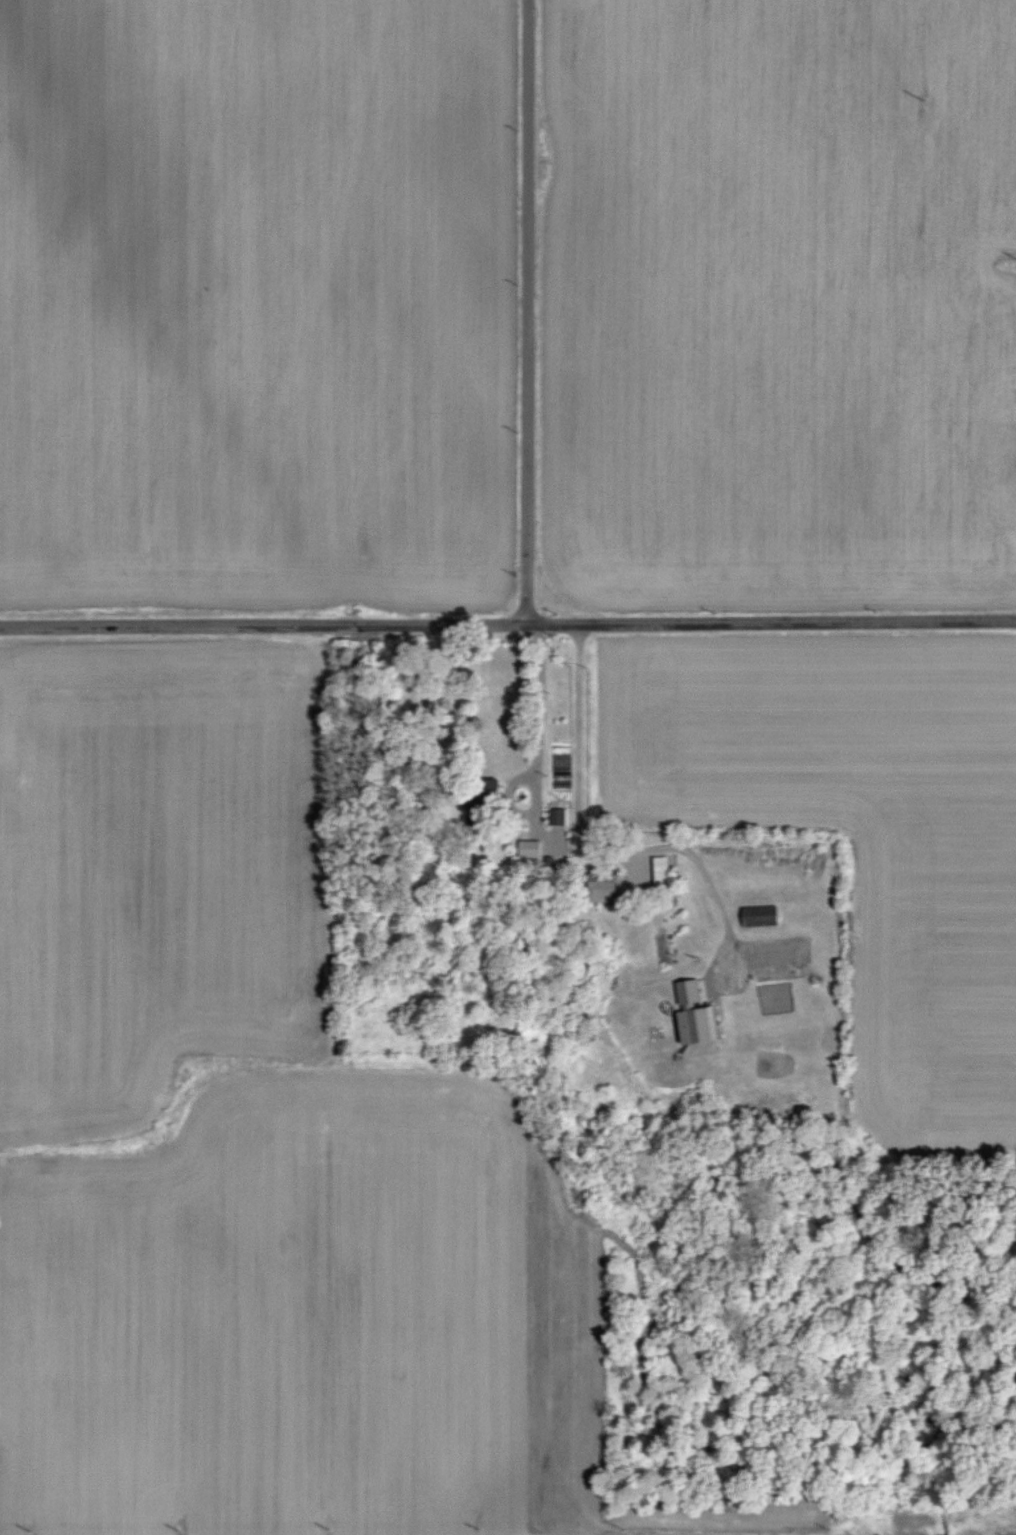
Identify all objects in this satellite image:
road: (527, 312)
road: (508, 625)
building: (481, 784)
building: (555, 816)
road: (555, 837)
building: (525, 847)
road: (684, 851)
building: (657, 869)
building: (597, 886)
building: (755, 915)
building: (690, 1014)

